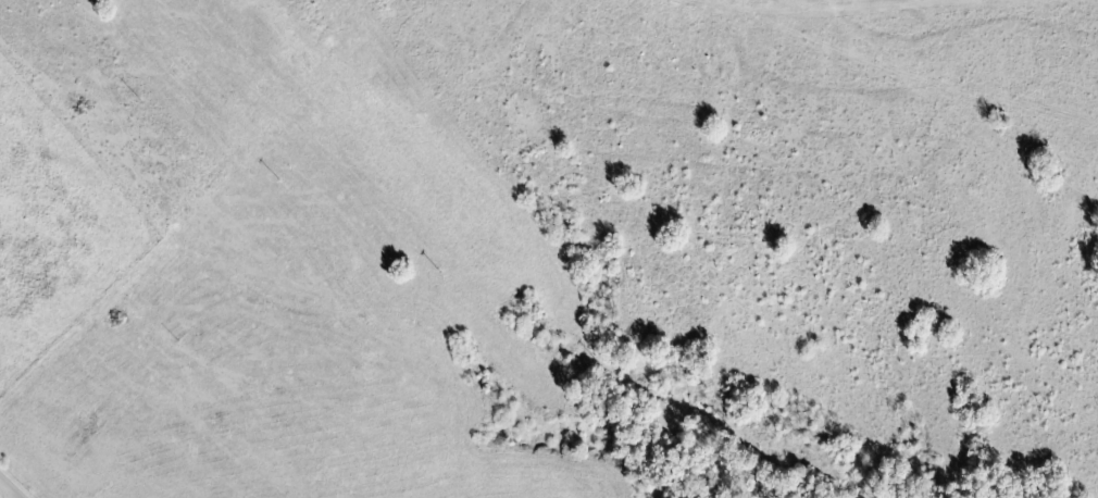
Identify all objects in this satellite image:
road: (13, 485)

